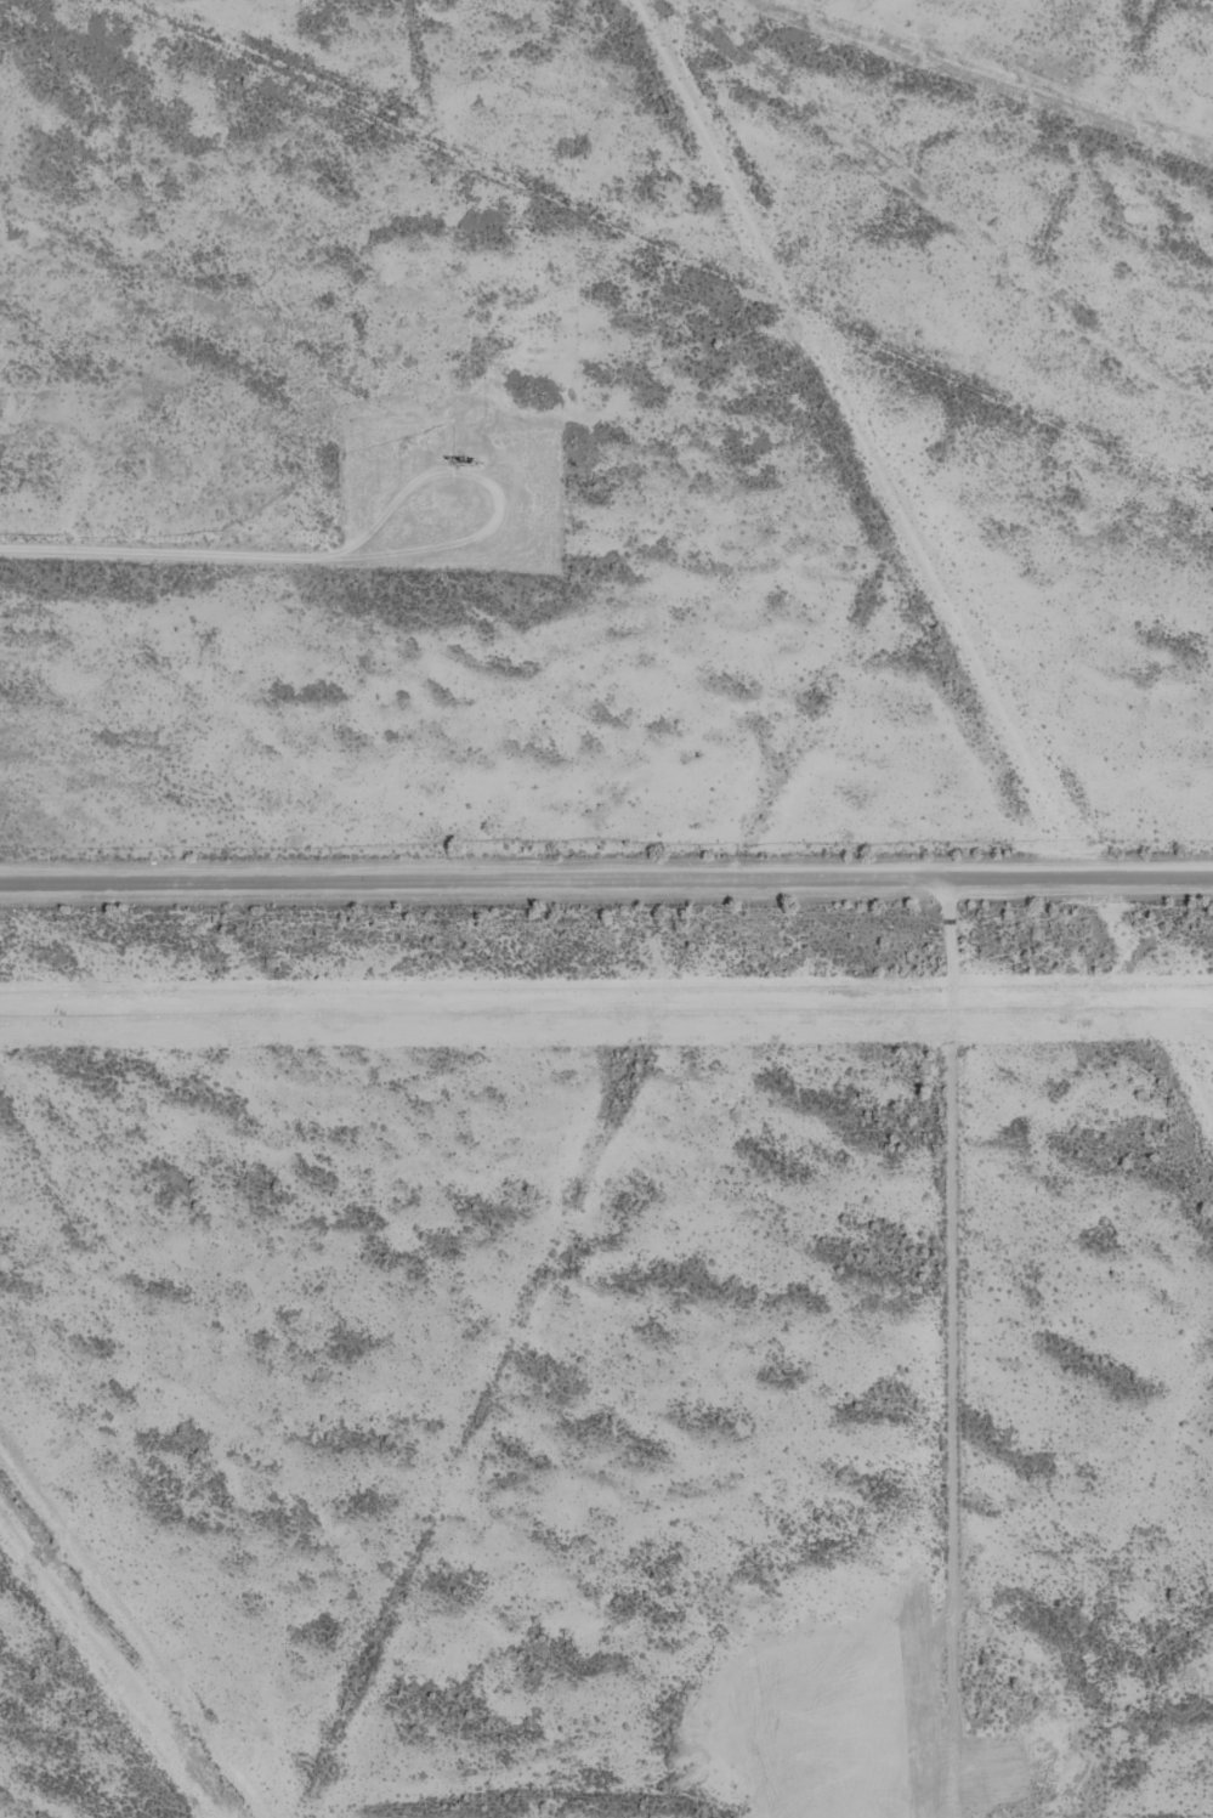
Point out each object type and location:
road: (606, 865)
road: (947, 1308)

